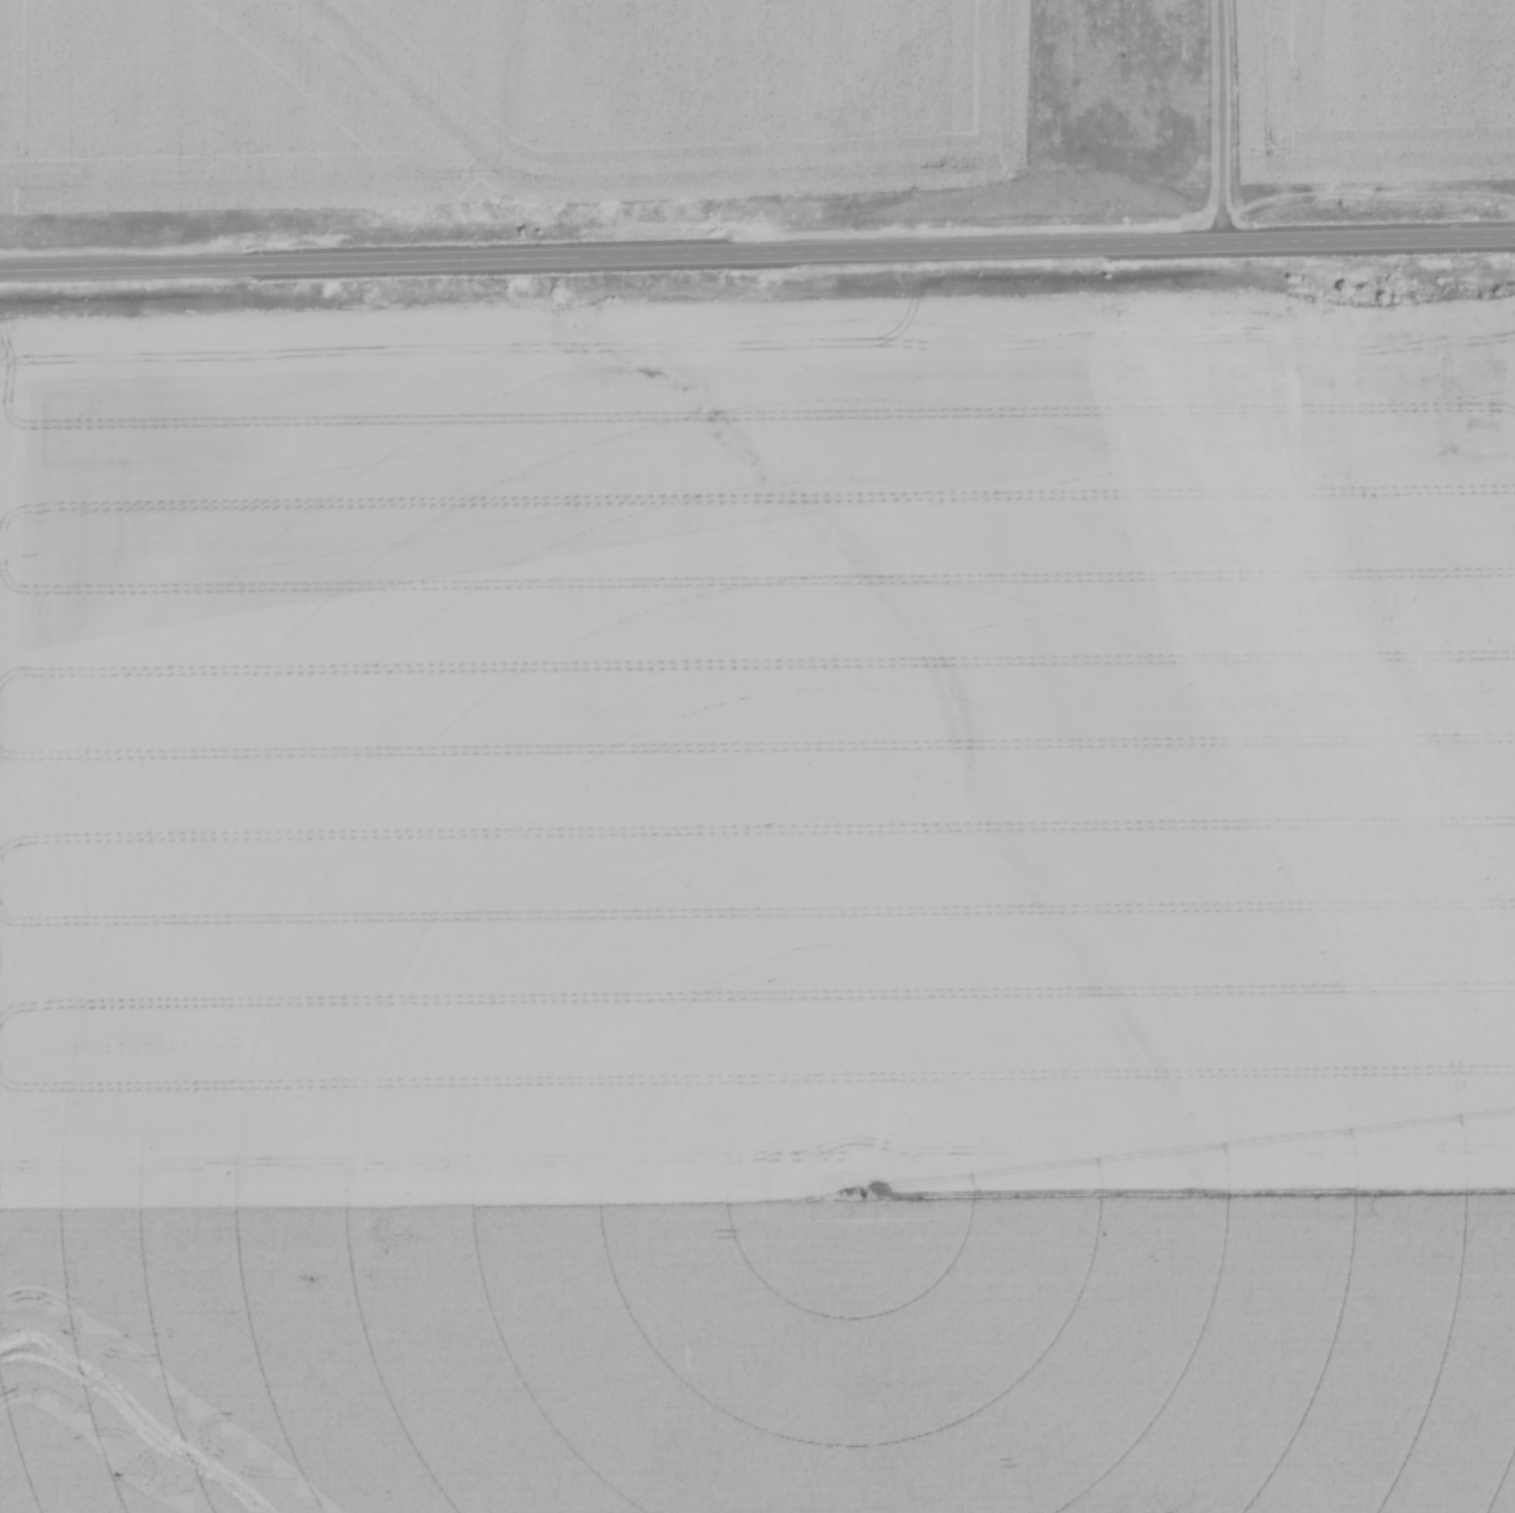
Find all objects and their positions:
road: (1219, 121)
road: (757, 255)

